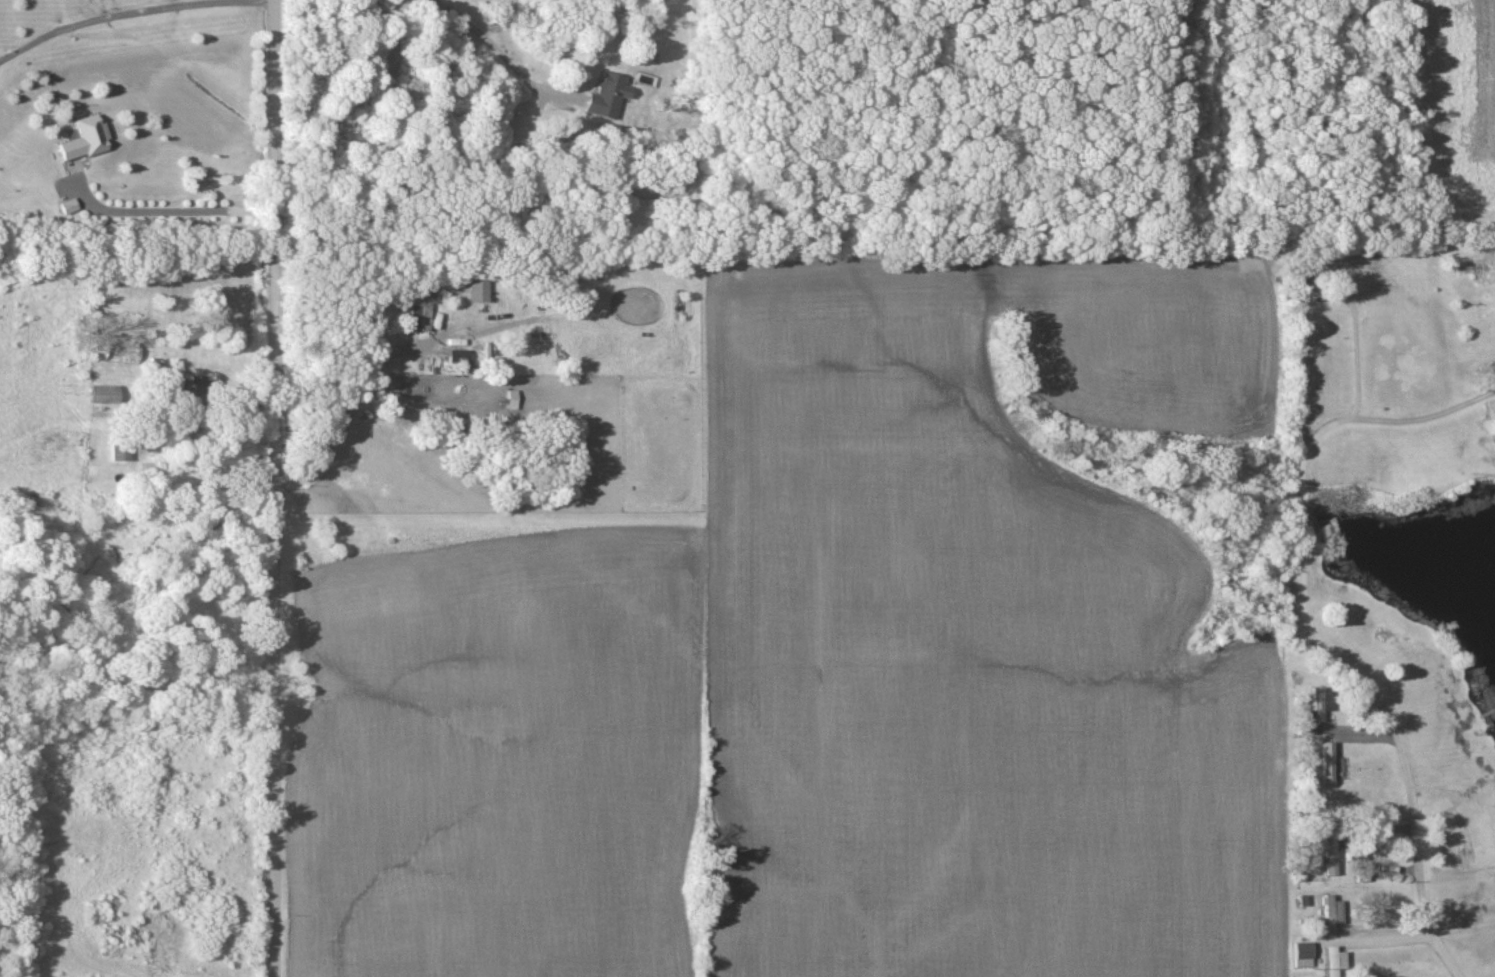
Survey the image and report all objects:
road: (132, 11)
road: (491, 50)
building: (606, 98)
building: (85, 141)
building: (68, 208)
building: (424, 314)
building: (103, 396)
building: (512, 401)
road: (345, 403)
building: (121, 455)
road: (275, 488)
road: (1309, 631)
building: (1312, 715)
building: (1327, 764)
building: (1328, 857)
building: (1363, 876)
building: (1331, 915)
building: (1302, 956)
building: (1334, 962)

